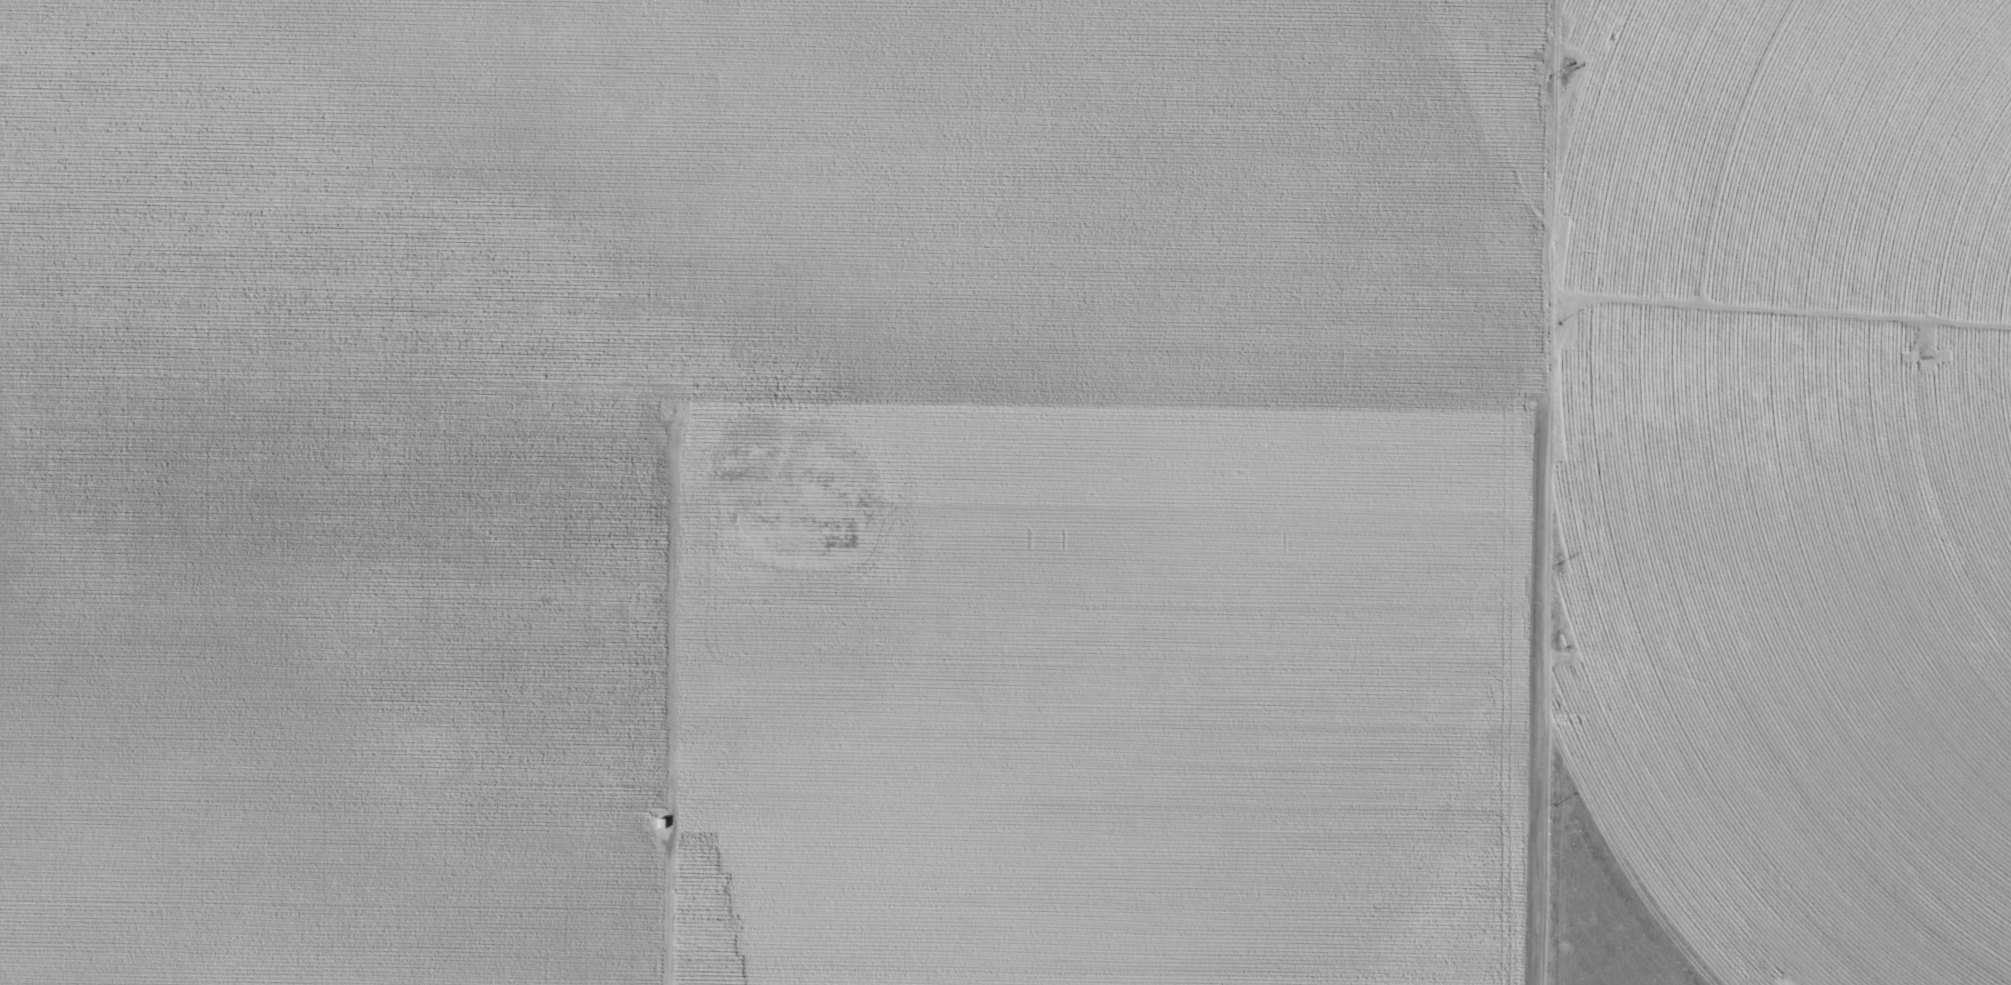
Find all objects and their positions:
road: (1566, 492)

